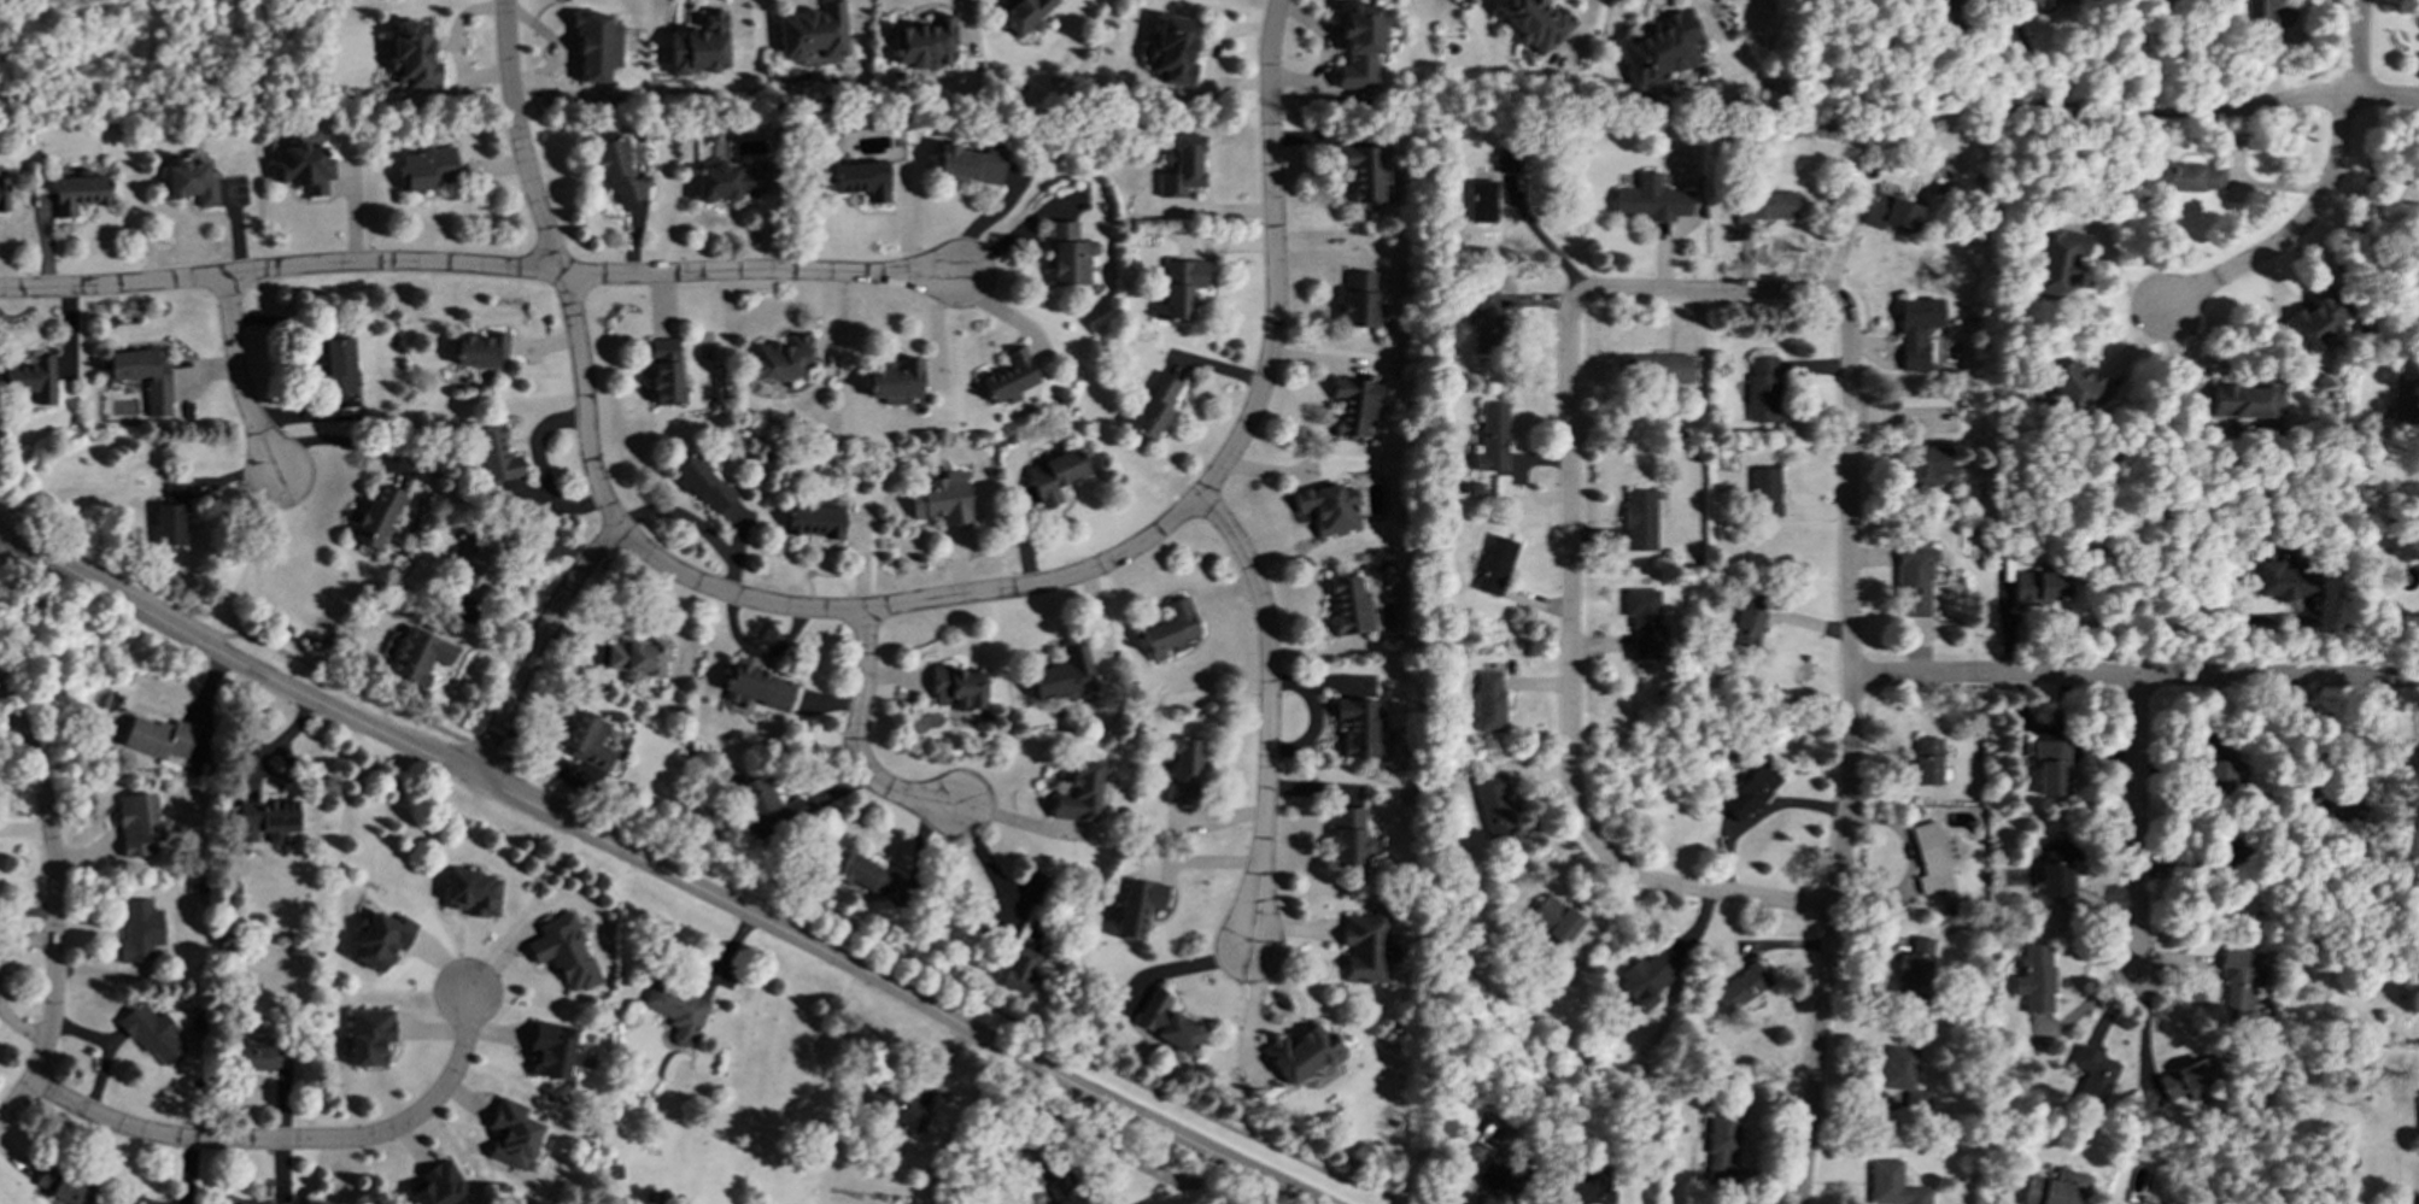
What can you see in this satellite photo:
building: (2048, 1)
building: (2266, 12)
building: (1535, 22)
road: (453, 43)
building: (924, 43)
building: (1360, 45)
building: (703, 46)
road: (2357, 46)
building: (597, 47)
building: (1663, 47)
building: (1173, 49)
building: (412, 54)
road: (1962, 55)
park: (143, 57)
road: (2098, 57)
road: (2118, 114)
building: (1507, 161)
building: (970, 164)
building: (303, 166)
building: (1179, 166)
building: (427, 168)
building: (619, 171)
building: (1361, 172)
building: (2183, 176)
building: (191, 180)
building: (861, 180)
building: (731, 181)
building: (78, 193)
building: (2, 195)
building: (1650, 200)
building: (1482, 201)
building: (1764, 206)
building: (1890, 212)
road: (2291, 230)
building: (1067, 254)
road: (1272, 258)
building: (2058, 259)
road: (556, 266)
road: (279, 269)
road: (760, 271)
building: (1178, 288)
road: (1706, 290)
building: (1359, 299)
building: (2315, 319)
building: (1915, 330)
building: (481, 350)
building: (781, 358)
building: (1658, 369)
building: (664, 371)
building: (143, 376)
building: (31, 377)
building: (340, 377)
building: (1009, 377)
road: (238, 378)
building: (896, 382)
building: (2073, 384)
building: (1762, 389)
building: (2405, 397)
building: (2245, 401)
building: (1154, 405)
building: (1493, 439)
road: (340, 441)
building: (494, 454)
building: (1925, 466)
building: (1054, 475)
building: (703, 484)
building: (1764, 492)
building: (942, 503)
building: (1329, 509)
building: (377, 516)
building: (172, 517)
building: (814, 519)
building: (1639, 519)
building: (1495, 565)
building: (478, 566)
building: (1914, 578)
building: (2282, 585)
building: (2039, 587)
road: (910, 604)
building: (1351, 606)
building: (1642, 619)
building: (1746, 623)
building: (1171, 629)
road: (535, 644)
building: (417, 656)
building: (638, 658)
building: (1065, 675)
road: (2133, 676)
building: (757, 686)
building: (959, 688)
road: (1570, 700)
building: (1489, 701)
road: (1269, 710)
building: (1358, 727)
building: (158, 739)
building: (587, 741)
road: (855, 741)
road: (1850, 756)
building: (1926, 760)
building: (2050, 768)
building: (1183, 770)
building: (2219, 770)
building: (1079, 793)
building: (1750, 793)
building: (1492, 803)
building: (766, 807)
building: (265, 817)
road: (49, 824)
building: (137, 827)
building: (1348, 839)
road: (2136, 840)
road: (695, 848)
building: (1931, 859)
road: (657, 869)
building: (2054, 869)
building: (869, 877)
building: (471, 892)
building: (1137, 906)
road: (28, 912)
building: (1554, 918)
building: (139, 930)
building: (381, 940)
road: (23, 944)
building: (1363, 947)
building: (564, 952)
building: (1020, 964)
building: (1914, 971)
building: (2241, 976)
building: (2033, 979)
building: (1646, 980)
building: (1744, 986)
road: (2085, 1004)
building: (676, 1010)
building: (1165, 1022)
road: (19, 1026)
building: (151, 1033)
building: (369, 1036)
road: (107, 1050)
building: (553, 1052)
building: (1300, 1053)
road: (41, 1056)
building: (2093, 1074)
building: (1903, 1075)
building: (2186, 1079)
building: (896, 1111)
building: (515, 1135)
road: (293, 1139)
building: (1723, 1145)
road: (1121, 1151)
building: (64, 1185)
building: (439, 1185)
building: (1893, 1185)
building: (1062, 1186)
building: (2055, 1187)
building: (1586, 1190)
building: (152, 1203)

